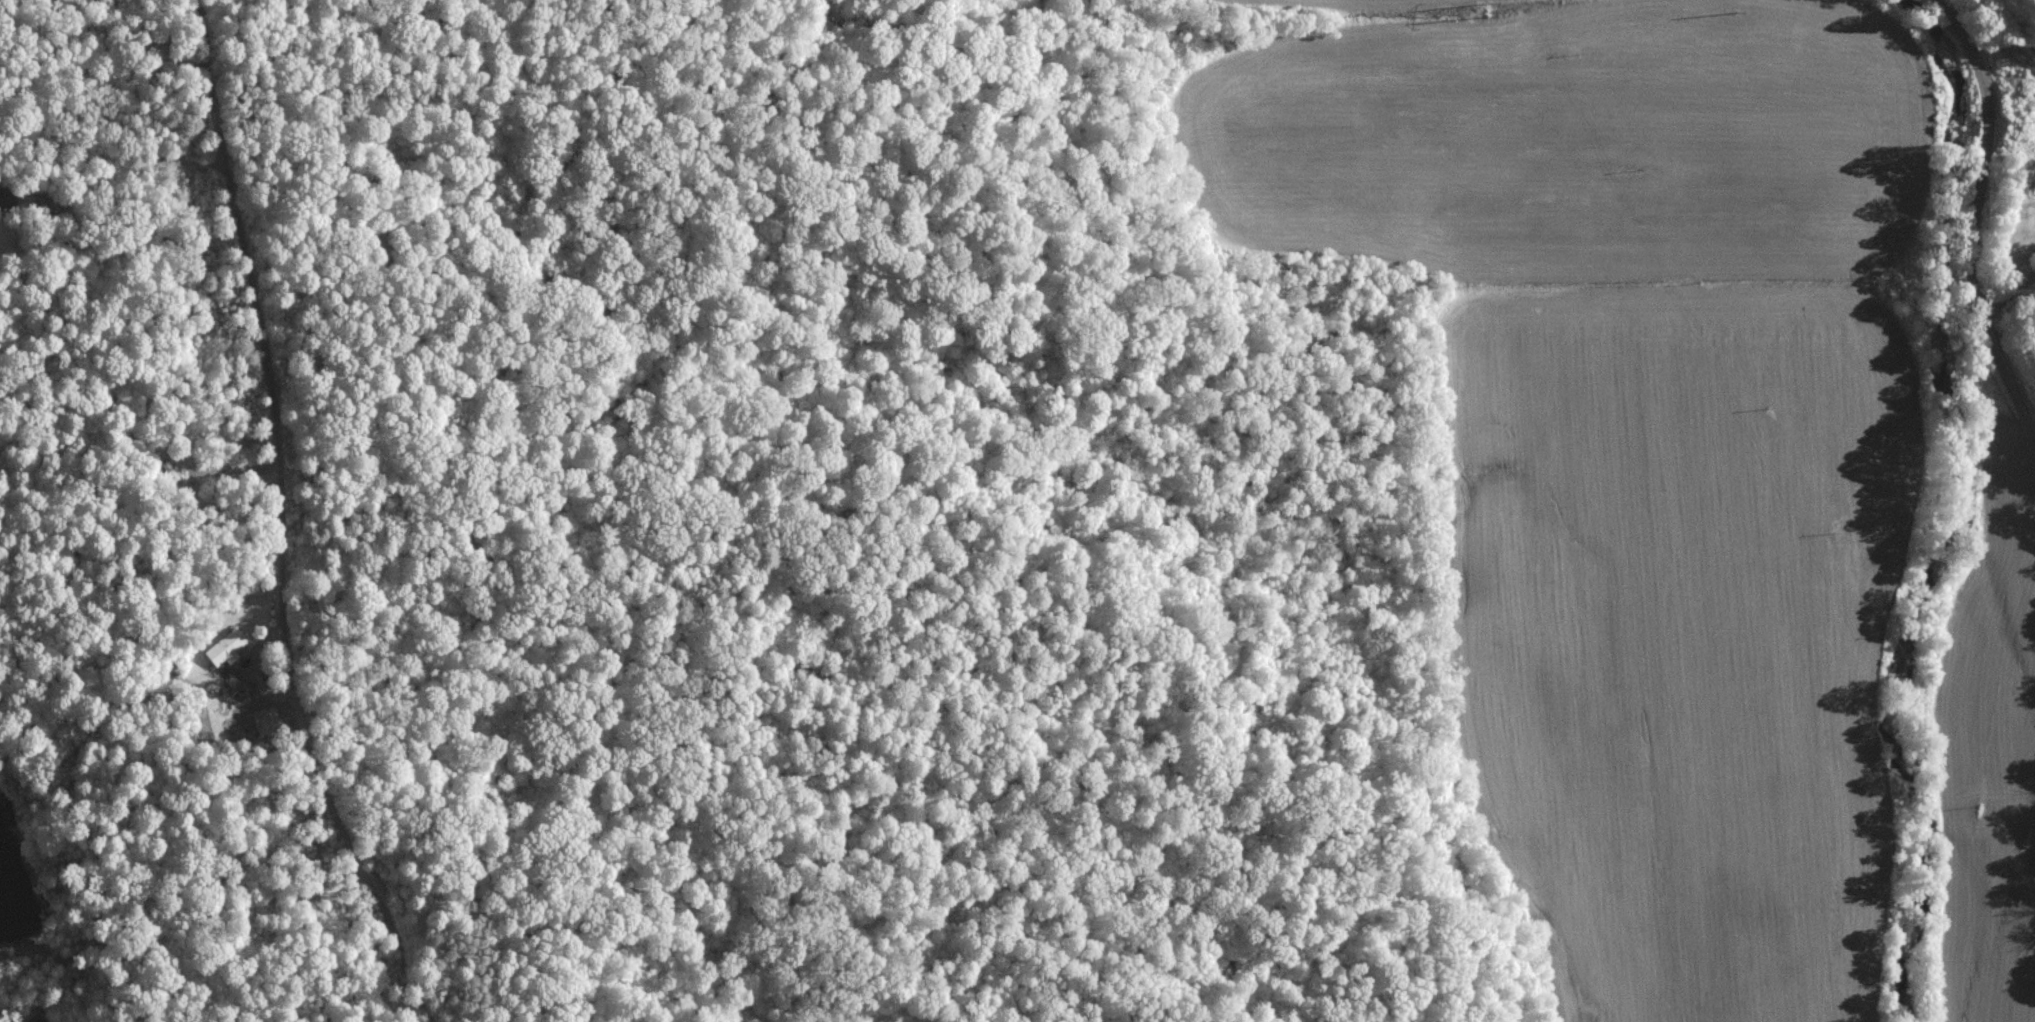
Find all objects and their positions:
power tower: (1496, 5)
power tower: (1747, 9)
power tower: (2015, 57)
road: (143, 160)
road: (1978, 213)
road: (287, 520)
building: (224, 647)
building: (264, 719)

